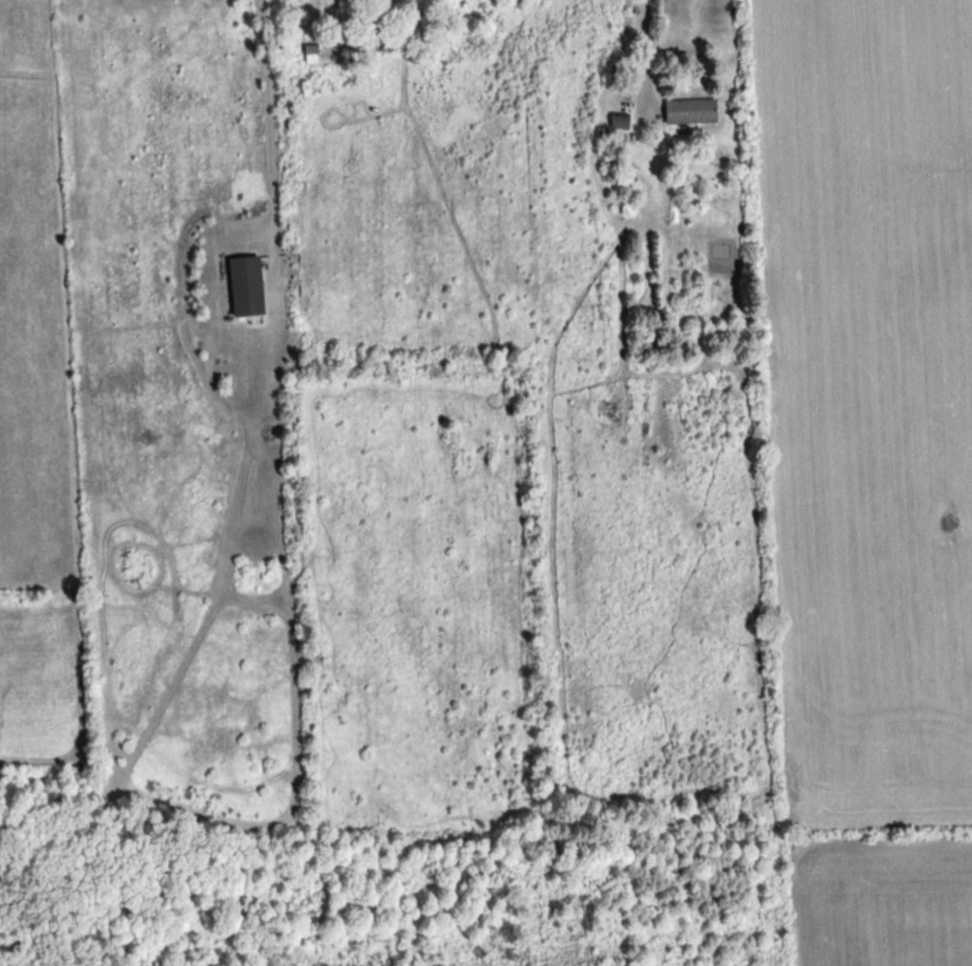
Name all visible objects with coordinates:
road: (647, 47)
building: (688, 112)
building: (617, 122)
building: (243, 286)

